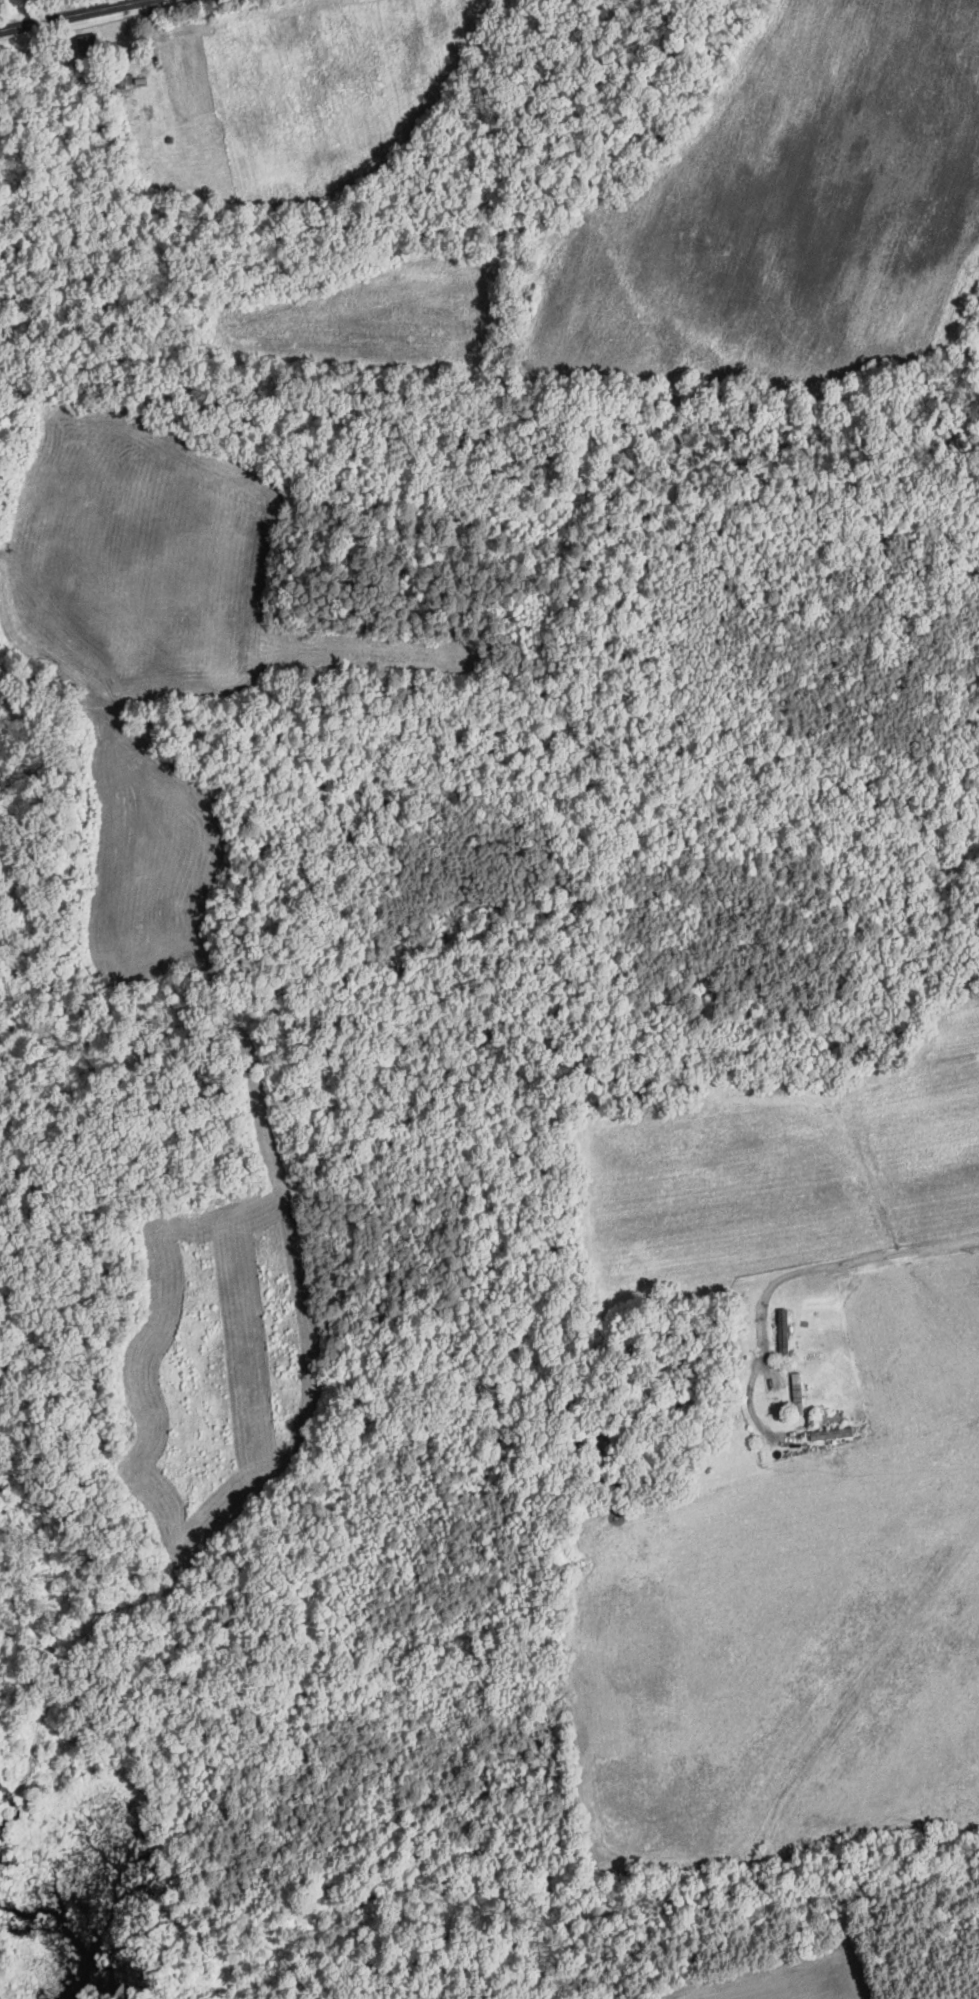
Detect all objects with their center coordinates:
road: (71, 14)
building: (90, 42)
road: (834, 1263)
building: (784, 1329)
river: (32, 1369)
building: (834, 1416)
building: (834, 1432)
river: (87, 1902)

